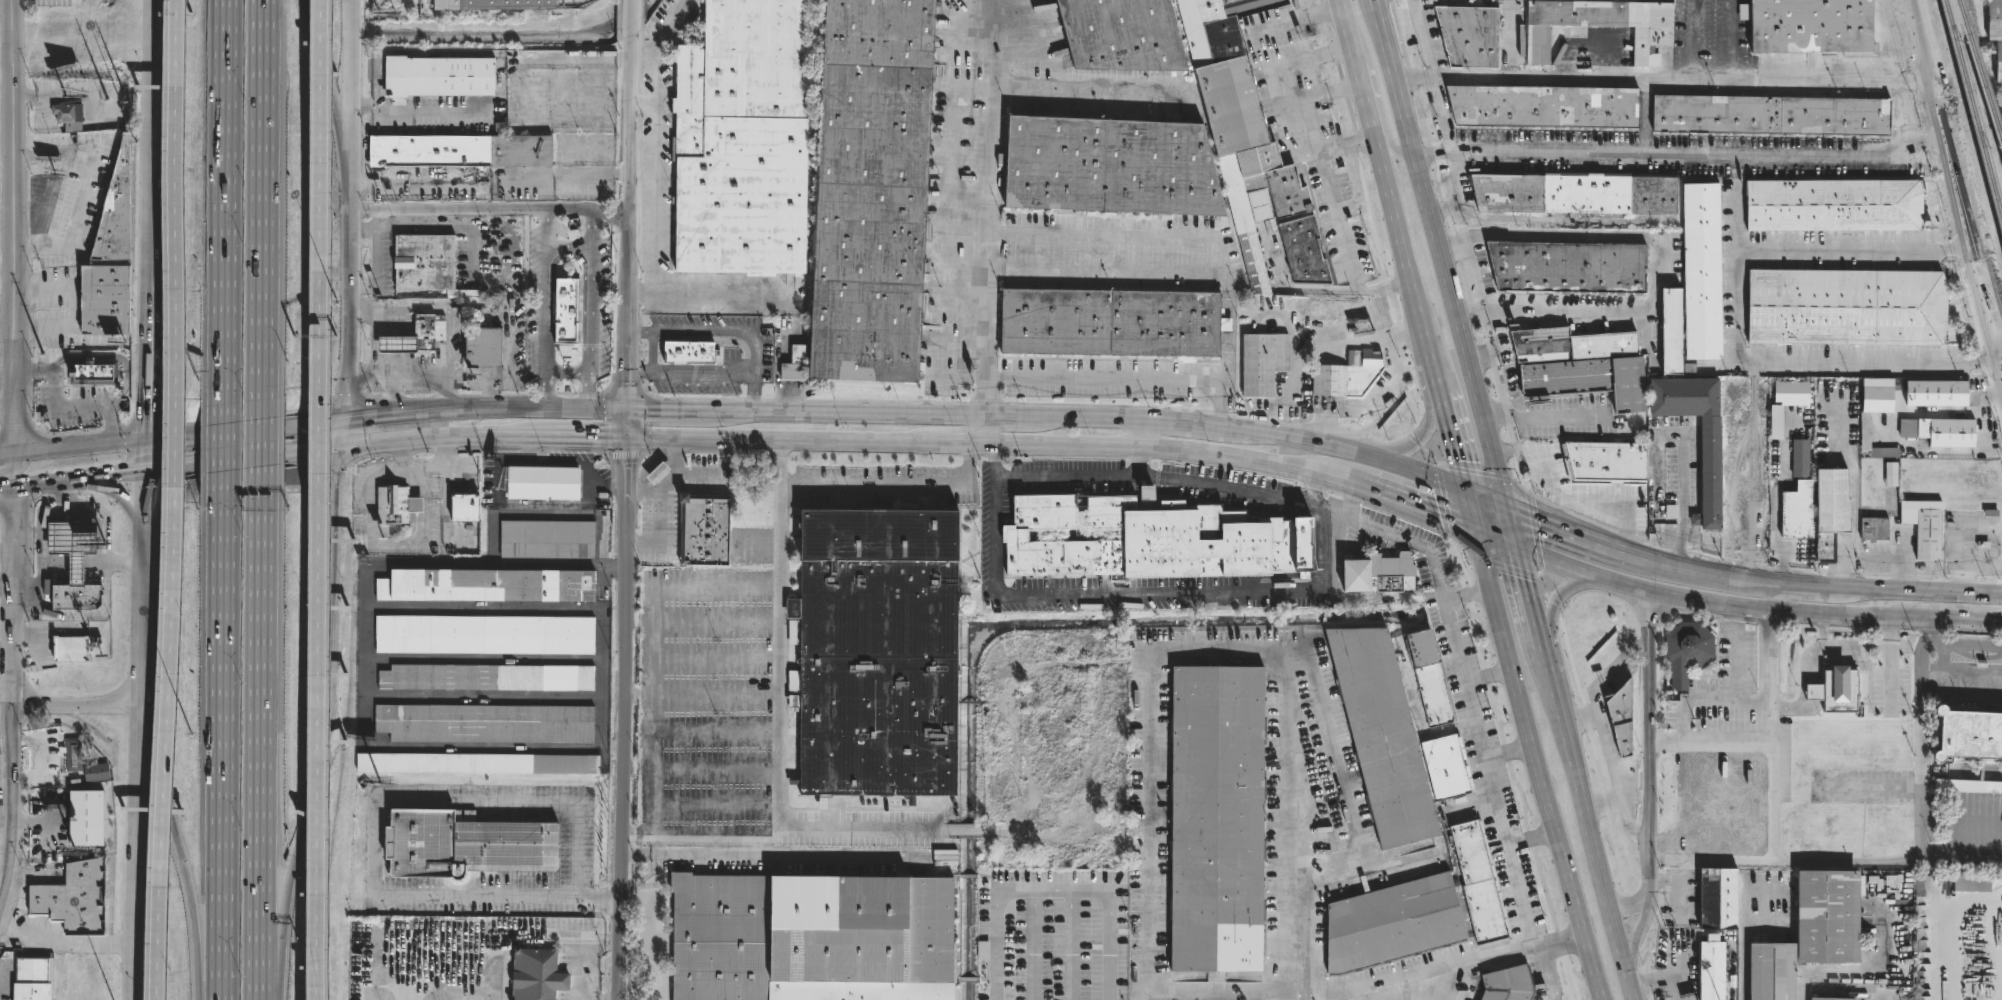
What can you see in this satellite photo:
building: (486, 4)
road: (633, 18)
road: (311, 25)
building: (1599, 26)
building: (1805, 27)
building: (1119, 36)
building: (1994, 36)
road: (173, 37)
building: (1460, 38)
road: (1692, 38)
road: (1731, 38)
road: (652, 46)
road: (641, 50)
road: (4, 51)
road: (352, 52)
road: (1324, 56)
road: (4, 68)
building: (1225, 69)
railway: (1981, 71)
road: (1663, 77)
building: (440, 78)
road: (148, 82)
road: (560, 86)
road: (1374, 89)
power tower: (112, 90)
road: (1334, 91)
road: (1085, 93)
road: (335, 96)
road: (39, 97)
road: (499, 97)
road: (77, 99)
building: (1543, 106)
railway: (1974, 111)
building: (69, 115)
road: (1644, 115)
building: (1770, 115)
road: (160, 119)
road: (351, 124)
building: (741, 139)
road: (1348, 147)
building: (461, 149)
road: (1683, 153)
road: (4, 163)
building: (1109, 164)
road: (1956, 172)
road: (1330, 184)
road: (410, 185)
road: (79, 187)
building: (871, 189)
road: (1453, 193)
building: (1570, 193)
road: (1388, 197)
road: (262, 200)
building: (1260, 200)
road: (653, 201)
road: (1738, 201)
road: (224, 202)
building: (1830, 204)
road: (984, 206)
road: (1429, 210)
building: (117, 211)
road: (447, 211)
road: (569, 212)
road: (611, 218)
road: (1557, 218)
road: (631, 222)
road: (9, 225)
road: (591, 232)
road: (149, 240)
road: (567, 249)
building: (1303, 251)
road: (5, 257)
building: (428, 261)
road: (1226, 261)
road: (1656, 261)
road: (382, 262)
building: (1568, 269)
building: (1701, 270)
road: (1473, 273)
road: (1393, 286)
road: (5, 288)
road: (544, 291)
road: (729, 296)
road: (350, 298)
building: (106, 299)
building: (1843, 306)
building: (568, 310)
road: (445, 312)
building: (1335, 312)
road: (1738, 317)
building: (1111, 322)
building: (426, 330)
building: (1670, 331)
road: (587, 332)
building: (397, 344)
road: (2001, 345)
building: (486, 347)
road: (2001, 348)
power tower: (41, 350)
building: (686, 352)
road: (1481, 357)
road: (751, 359)
road: (1495, 360)
building: (1262, 362)
building: (793, 364)
road: (1293, 365)
building: (1581, 366)
building: (94, 372)
road: (370, 373)
road: (420, 373)
building: (1347, 377)
road: (145, 378)
road: (1122, 380)
road: (545, 390)
road: (585, 390)
road: (626, 390)
building: (1933, 392)
road: (393, 393)
road: (751, 394)
building: (1877, 395)
building: (1784, 403)
road: (1369, 405)
road: (484, 407)
traffic signals: (628, 407)
road: (671, 407)
road: (59, 409)
road: (849, 411)
road: (1009, 413)
road: (1090, 415)
traffic signals: (342, 418)
road: (1170, 418)
road: (1497, 418)
road: (1556, 419)
road: (320, 420)
road: (627, 423)
road: (645, 423)
road: (1432, 426)
road: (986, 429)
road: (221, 431)
building: (1944, 431)
road: (1511, 432)
road: (1146, 434)
road: (1290, 436)
road: (577, 438)
road: (1490, 439)
traffic signals: (144, 440)
traffic signals: (627, 440)
road: (429, 441)
road: (770, 442)
road: (262, 443)
road: (1452, 443)
road: (78, 444)
road: (951, 445)
road: (224, 447)
traffic signals: (330, 452)
road: (1178, 452)
road: (6, 453)
road: (1506, 454)
road: (446, 455)
road: (624, 457)
road: (144, 458)
building: (1800, 458)
road: (992, 460)
traffic signals: (1457, 461)
building: (1604, 462)
road: (1144, 463)
road: (9, 464)
road: (237, 464)
building: (1710, 464)
road: (779, 467)
road: (444, 469)
road: (1478, 473)
road: (370, 474)
road: (707, 474)
traffic signals: (145, 476)
road: (1155, 476)
road: (1425, 476)
building: (1891, 476)
road: (110, 479)
road: (1501, 482)
building: (543, 483)
road: (42, 487)
road: (895, 490)
road: (4, 491)
road: (643, 491)
road: (1314, 492)
road: (1854, 498)
road: (320, 499)
road: (1486, 499)
road: (124, 500)
road: (175, 500)
road: (1576, 500)
building: (1081, 501)
road: (1444, 502)
road: (1775, 502)
road: (329, 503)
building: (397, 506)
building: (462, 507)
road: (1683, 507)
road: (661, 509)
building: (1107, 511)
building: (1830, 511)
building: (1044, 512)
building: (1794, 512)
road: (1470, 514)
building: (703, 515)
road: (1419, 515)
building: (1733, 517)
traffic signals: (1538, 520)
road: (59, 523)
traffic signals: (1440, 523)
road: (425, 526)
road: (1511, 526)
building: (1922, 526)
road: (1534, 528)
building: (1875, 529)
road: (1574, 536)
building: (549, 539)
road: (1495, 540)
building: (1203, 542)
road: (1961, 542)
building: (75, 545)
gas station: (75, 545)
building: (703, 549)
road: (1457, 554)
road: (1904, 554)
road: (1874, 555)
building: (1059, 556)
road: (67, 562)
road: (1981, 562)
road: (1504, 566)
road: (1694, 572)
building: (1377, 574)
traffic signals: (1524, 580)
building: (490, 585)
road: (6, 586)
road: (12, 591)
road: (143, 592)
road: (1873, 592)
road: (707, 593)
road: (1137, 594)
road: (1324, 595)
road: (1546, 595)
building: (77, 597)
road: (1357, 598)
road: (1804, 599)
road: (1717, 606)
road: (1531, 608)
road: (1551, 611)
road: (701, 621)
road: (1965, 625)
road: (1646, 626)
road: (1824, 631)
building: (487, 634)
road: (1929, 634)
building: (72, 649)
building: (877, 652)
building: (1687, 652)
road: (1280, 666)
building: (489, 677)
road: (1487, 677)
building: (1429, 678)
road: (1549, 680)
road: (1961, 681)
building: (1835, 689)
road: (1465, 691)
road: (700, 693)
road: (7, 694)
road: (15, 699)
road: (327, 699)
road: (77, 707)
road: (1919, 713)
building: (1619, 718)
road: (15, 720)
road: (622, 720)
building: (487, 724)
building: (1969, 733)
road: (7, 735)
road: (146, 735)
building: (1382, 735)
road: (1773, 741)
road: (260, 743)
road: (1647, 744)
road: (222, 745)
road: (777, 746)
road: (1507, 753)
building: (73, 755)
road: (1595, 755)
road: (137, 761)
road: (7, 762)
building: (478, 763)
building: (1446, 767)
road: (1537, 767)
building: (98, 773)
road: (1514, 779)
road: (1343, 780)
building: (1967, 786)
road: (1773, 804)
building: (1217, 817)
road: (13, 820)
road: (858, 827)
road: (375, 828)
road: (1530, 839)
road: (1591, 845)
building: (466, 846)
road: (177, 851)
road: (1823, 861)
road: (3, 871)
building: (1478, 882)
road: (1053, 890)
building: (74, 899)
building: (1717, 899)
road: (1627, 902)
road: (130, 906)
road: (278, 920)
building: (1397, 923)
road: (1637, 926)
building: (1810, 933)
road: (480, 937)
building: (812, 937)
road: (63, 948)
road: (1539, 952)
road: (1489, 961)
road: (1744, 966)
building: (1712, 967)
road: (200, 971)
building: (534, 974)
building: (33, 978)
road: (1379, 980)
road: (1664, 980)
road: (581, 982)
building: (1507, 983)
road: (1141, 994)
building: (1832, 998)

